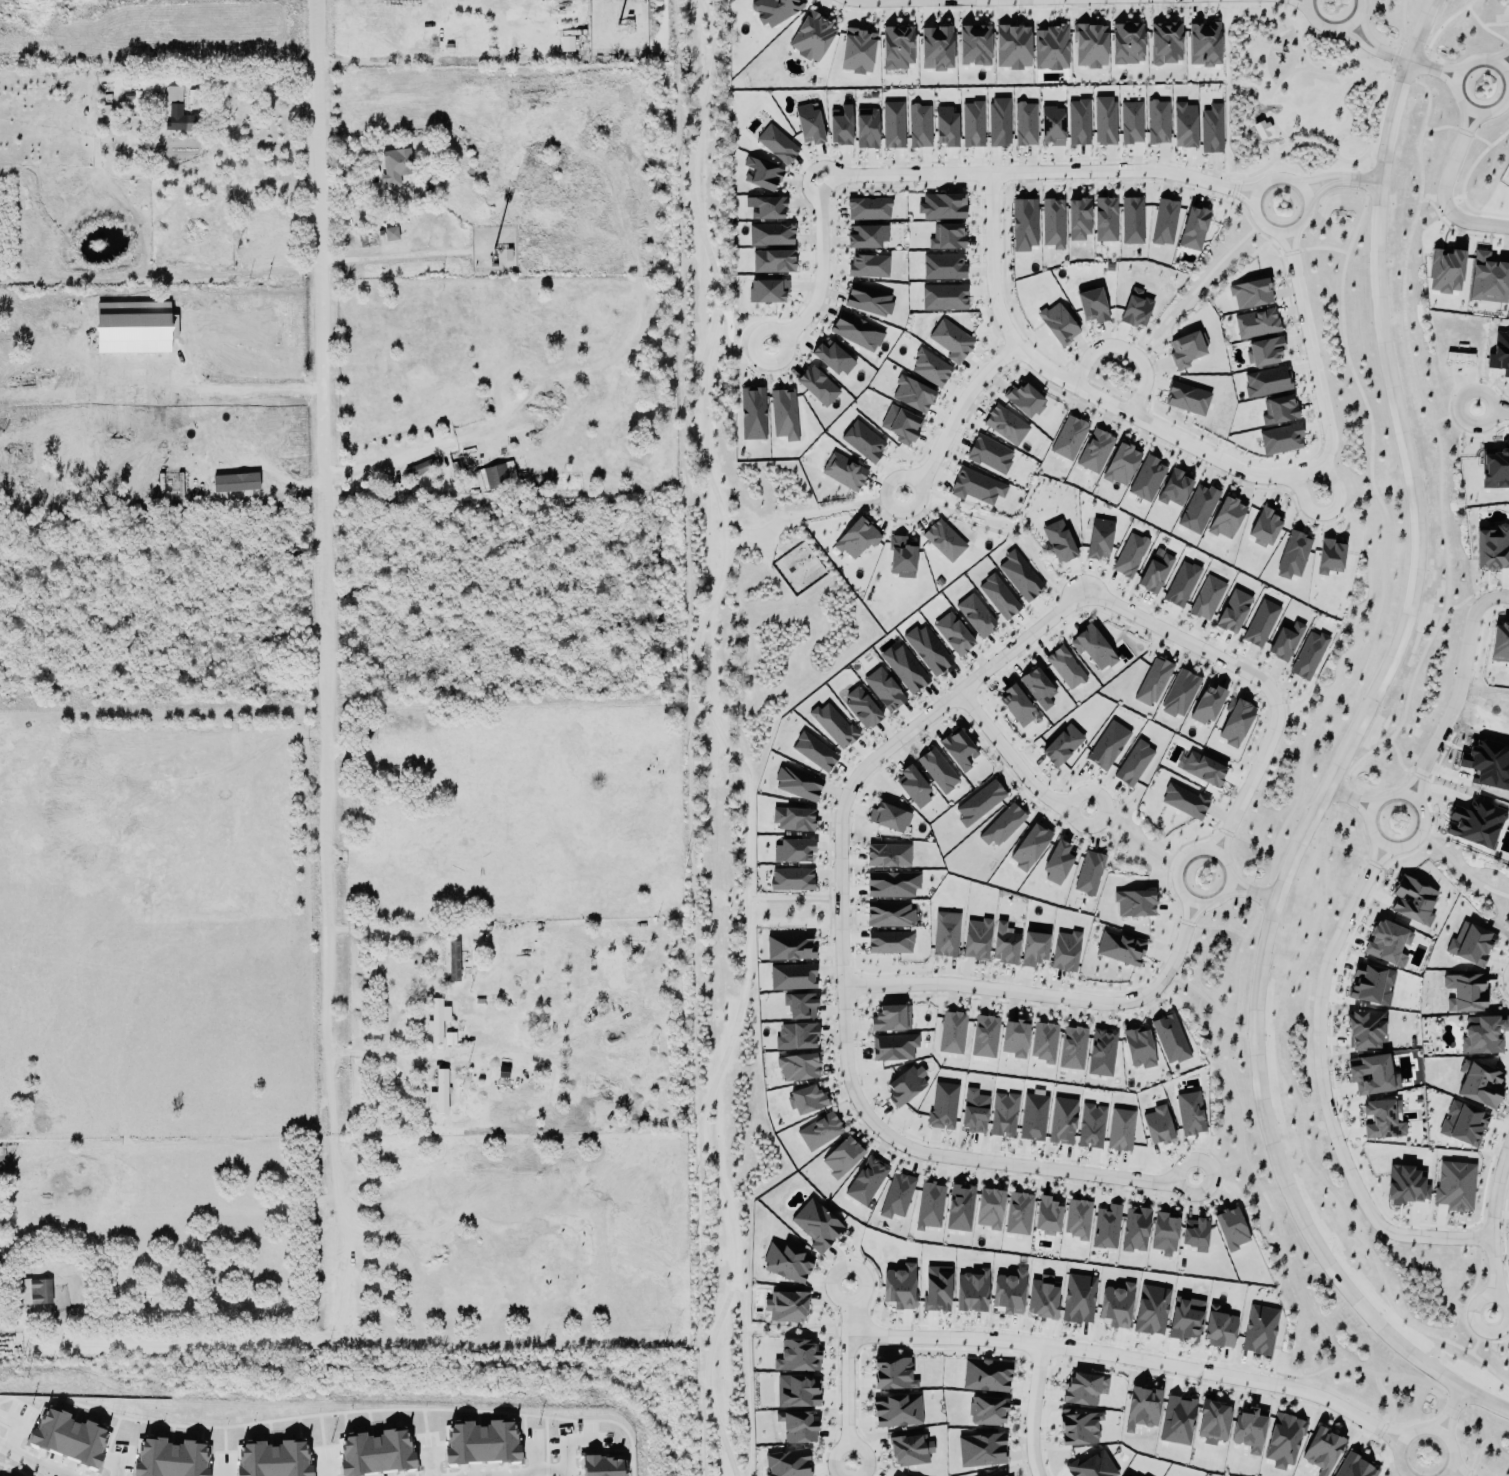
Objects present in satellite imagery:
road: (1282, 2)
road: (1251, 7)
road: (1281, 10)
building: (773, 11)
road: (1334, 26)
road: (1289, 29)
road: (1367, 31)
building: (811, 37)
road: (1357, 38)
building: (566, 44)
building: (1126, 44)
building: (1164, 44)
building: (1203, 45)
building: (973, 46)
building: (1089, 46)
building: (896, 48)
building: (1011, 48)
building: (450, 49)
building: (935, 49)
building: (1050, 49)
building: (856, 52)
road: (1395, 54)
road: (1396, 56)
road: (1300, 58)
road: (1504, 59)
road: (1291, 60)
road: (1343, 64)
road: (1431, 67)
road: (1297, 68)
road: (1390, 70)
road: (1381, 71)
road: (243, 77)
road: (710, 86)
road: (1452, 86)
building: (173, 94)
road: (1266, 96)
park: (1295, 96)
road: (1366, 113)
building: (178, 120)
building: (1104, 121)
building: (1157, 122)
building: (998, 123)
building: (1078, 123)
building: (1131, 123)
building: (808, 125)
building: (972, 125)
building: (1024, 125)
building: (839, 126)
building: (892, 126)
building: (919, 126)
building: (1051, 126)
building: (1183, 126)
building: (944, 127)
building: (1259, 128)
building: (865, 129)
building: (1211, 130)
road: (1282, 135)
road: (1274, 141)
building: (776, 145)
road: (1282, 149)
road: (1330, 153)
road: (1369, 160)
building: (393, 167)
road: (1037, 171)
road: (1256, 171)
road: (1227, 174)
building: (760, 175)
road: (1340, 178)
road: (1236, 179)
road: (1367, 180)
road: (1301, 188)
road: (1232, 190)
road: (1442, 194)
road: (1230, 200)
building: (941, 207)
building: (764, 208)
building: (868, 210)
building: (1078, 219)
building: (1105, 220)
building: (1131, 221)
building: (1164, 223)
building: (1052, 224)
building: (1024, 225)
building: (1193, 229)
building: (390, 235)
building: (770, 235)
building: (866, 237)
building: (946, 238)
road: (1322, 247)
road: (1290, 252)
road: (1280, 254)
building: (772, 262)
building: (867, 267)
building: (942, 267)
road: (818, 270)
building: (1488, 280)
building: (766, 291)
building: (1250, 294)
building: (943, 298)
building: (868, 301)
building: (1091, 305)
building: (1135, 309)
building: (1256, 324)
building: (1057, 325)
building: (132, 328)
road: (712, 330)
building: (855, 333)
building: (951, 342)
road: (1310, 348)
road: (1125, 350)
building: (1185, 351)
building: (1263, 352)
building: (832, 359)
building: (930, 369)
building: (1266, 382)
building: (816, 387)
road: (1082, 390)
building: (912, 395)
building: (1186, 399)
building: (1023, 401)
road: (1491, 408)
building: (1278, 411)
building: (752, 414)
building: (783, 415)
road: (953, 416)
building: (900, 426)
building: (1005, 426)
building: (1068, 439)
building: (1280, 440)
building: (862, 442)
road: (441, 449)
building: (1094, 452)
building: (989, 455)
building: (1120, 465)
building: (843, 473)
building: (495, 477)
building: (1146, 480)
building: (236, 483)
building: (975, 488)
building: (1174, 489)
road: (1357, 497)
building: (1197, 509)
road: (1324, 513)
building: (1226, 519)
building: (1263, 528)
building: (856, 539)
building: (1098, 539)
building: (943, 541)
building: (1057, 542)
building: (1492, 549)
road: (1384, 553)
building: (1129, 556)
building: (1292, 556)
building: (1329, 557)
building: (900, 558)
building: (1154, 572)
building: (1019, 576)
building: (1181, 585)
building: (998, 598)
building: (1207, 599)
building: (1233, 612)
building: (975, 616)
building: (1260, 624)
building: (952, 635)
building: (1285, 642)
building: (1500, 645)
building: (1092, 649)
building: (926, 650)
building: (1308, 657)
road: (698, 666)
building: (1508, 666)
building: (1065, 668)
building: (904, 669)
road: (1257, 679)
building: (1152, 683)
road: (1457, 685)
building: (1037, 689)
building: (883, 690)
building: (1179, 695)
building: (1206, 706)
building: (1016, 707)
building: (860, 709)
road: (1294, 721)
building: (1235, 723)
building: (832, 726)
building: (1061, 746)
building: (1107, 747)
building: (957, 751)
building: (813, 752)
road: (1345, 753)
road: (1013, 763)
building: (1133, 765)
building: (1201, 770)
building: (937, 771)
building: (797, 785)
building: (912, 788)
road: (1349, 798)
road: (321, 799)
building: (1183, 802)
building: (978, 804)
road: (1418, 808)
building: (888, 819)
building: (792, 820)
building: (1002, 827)
road: (1249, 841)
building: (1029, 849)
road: (1350, 850)
building: (791, 852)
building: (887, 856)
road: (1225, 861)
building: (1057, 864)
road: (1465, 871)
building: (1088, 874)
building: (791, 880)
building: (891, 885)
road: (1252, 892)
building: (1412, 902)
building: (1133, 905)
building: (888, 915)
road: (400, 928)
building: (945, 936)
building: (975, 940)
building: (889, 944)
building: (1386, 944)
building: (1469, 946)
building: (788, 949)
building: (1119, 949)
building: (1033, 950)
building: (1065, 953)
building: (453, 962)
road: (841, 970)
building: (791, 978)
building: (1371, 986)
building: (1464, 994)
road: (1048, 996)
building: (480, 1003)
building: (799, 1007)
road: (737, 1015)
building: (887, 1020)
building: (434, 1023)
building: (1364, 1031)
building: (951, 1034)
building: (1483, 1036)
building: (450, 1038)
building: (795, 1038)
building: (984, 1038)
building: (1014, 1040)
building: (1169, 1040)
building: (1043, 1043)
building: (893, 1048)
building: (1072, 1049)
building: (1138, 1049)
building: (1101, 1054)
road: (425, 1060)
building: (797, 1069)
building: (504, 1072)
building: (1371, 1076)
building: (905, 1086)
building: (1479, 1086)
road: (1324, 1092)
building: (440, 1094)
building: (806, 1101)
building: (942, 1107)
building: (973, 1112)
building: (1003, 1115)
building: (1190, 1115)
building: (1033, 1118)
building: (1382, 1121)
building: (1062, 1122)
road: (1300, 1124)
building: (1462, 1125)
building: (1157, 1126)
building: (1091, 1127)
building: (1120, 1131)
building: (819, 1133)
building: (841, 1159)
building: (865, 1182)
building: (1404, 1186)
building: (1454, 1187)
building: (896, 1197)
building: (929, 1207)
building: (959, 1209)
building: (988, 1210)
building: (1018, 1215)
building: (1046, 1217)
building: (1077, 1220)
building: (816, 1226)
building: (1105, 1228)
building: (1230, 1229)
road: (1493, 1230)
building: (1135, 1231)
building: (1164, 1234)
building: (1194, 1236)
building: (786, 1263)
building: (898, 1288)
building: (936, 1289)
building: (33, 1292)
building: (970, 1292)
building: (1008, 1293)
building: (1042, 1298)
building: (1078, 1299)
building: (1115, 1306)
building: (785, 1307)
road: (722, 1310)
building: (1151, 1310)
building: (1185, 1320)
building: (1219, 1329)
road: (742, 1330)
building: (1259, 1331)
road: (787, 1334)
building: (796, 1356)
road: (1117, 1356)
road: (847, 1372)
building: (892, 1374)
building: (985, 1376)
building: (1083, 1389)
building: (796, 1391)
road: (1457, 1401)
building: (1141, 1409)
building: (896, 1411)
road: (1033, 1411)
building: (986, 1412)
road: (717, 1415)
building: (1177, 1421)
road: (1437, 1421)
building: (1213, 1422)
building: (796, 1427)
road: (1485, 1427)
building: (1079, 1428)
road: (1450, 1428)
road: (1424, 1430)
building: (1247, 1431)
road: (1394, 1432)
building: (67, 1438)
building: (1283, 1441)
road: (1388, 1441)
building: (481, 1443)
building: (980, 1450)
building: (909, 1451)
building: (1321, 1451)
building: (373, 1453)
building: (168, 1459)
building: (273, 1459)
road: (25, 1461)
building: (786, 1464)
road: (1458, 1465)
building: (601, 1466)
building: (1091, 1466)
road: (538, 1472)
building: (997, 1473)
road: (42, 1474)
building: (1123, 1475)

